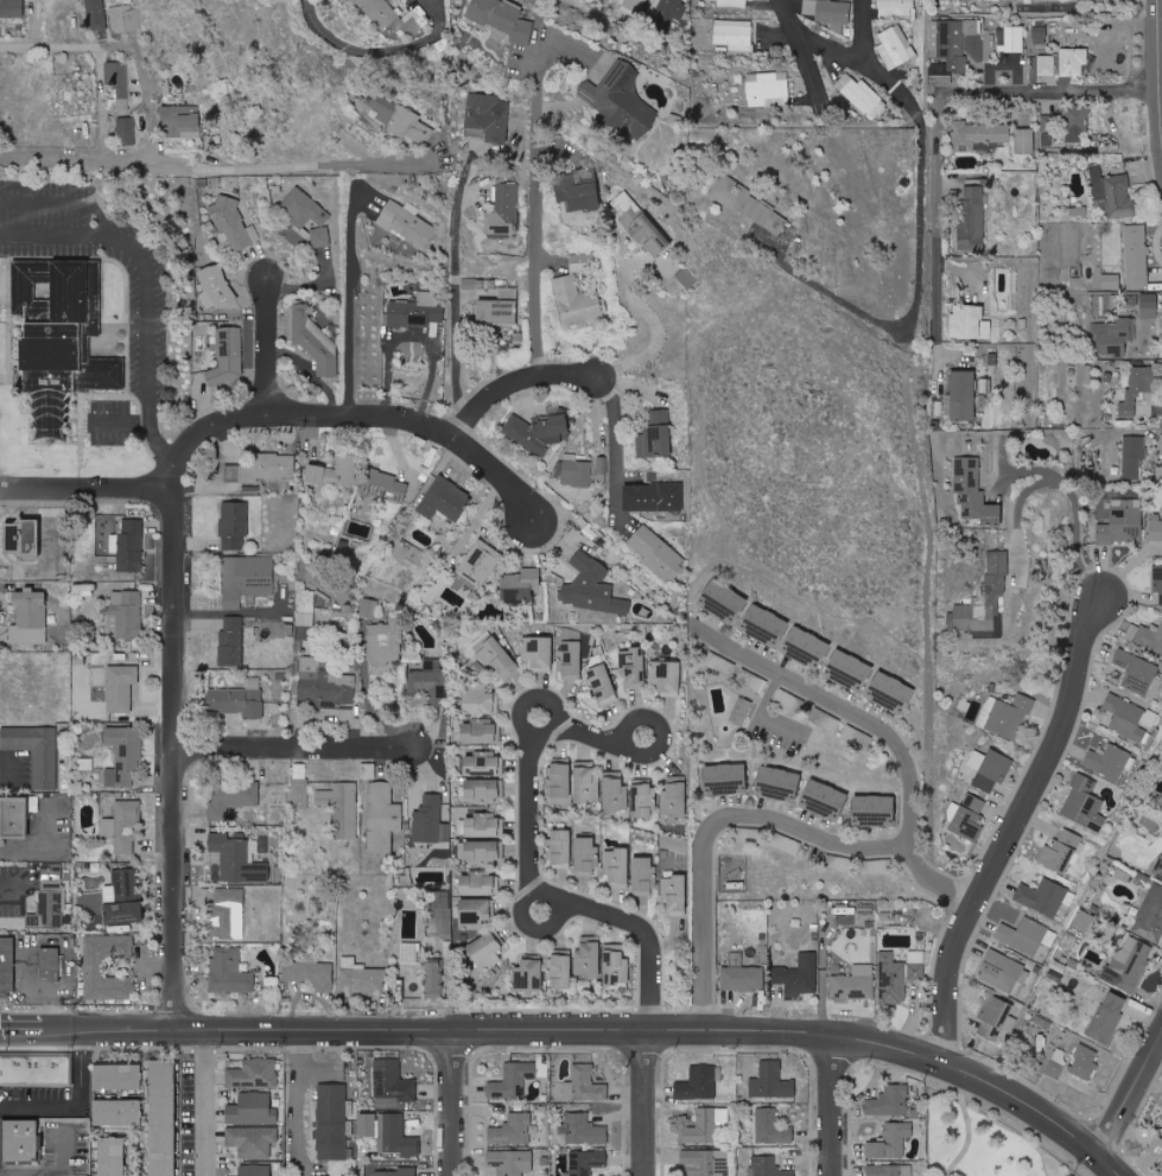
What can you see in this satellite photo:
building: (1007, 0)
building: (630, 4)
building: (732, 4)
building: (895, 7)
building: (11, 8)
building: (665, 12)
building: (828, 12)
building: (95, 14)
building: (125, 18)
building: (396, 19)
building: (503, 20)
road: (863, 30)
building: (735, 34)
building: (1040, 34)
building: (1015, 39)
building: (951, 40)
road: (355, 45)
building: (895, 46)
building: (984, 47)
road: (804, 53)
building: (1063, 63)
building: (939, 74)
building: (118, 77)
building: (768, 89)
building: (861, 95)
building: (621, 97)
road: (938, 104)
building: (383, 108)
road: (150, 112)
building: (488, 116)
building: (182, 121)
building: (1067, 123)
building: (409, 126)
building: (126, 131)
building: (1024, 140)
building: (646, 155)
road: (293, 165)
building: (1096, 180)
building: (578, 187)
building: (1119, 197)
road: (66, 199)
building: (750, 203)
building: (303, 208)
building: (503, 210)
road: (536, 210)
building: (1079, 210)
building: (972, 217)
building: (234, 223)
building: (406, 223)
road: (920, 231)
building: (649, 234)
building: (319, 236)
building: (1136, 256)
building: (686, 278)
road: (455, 279)
building: (1111, 281)
building: (566, 284)
building: (216, 287)
road: (147, 290)
building: (507, 293)
building: (1149, 300)
road: (349, 306)
building: (417, 310)
building: (497, 311)
building: (969, 322)
road: (655, 331)
building: (55, 332)
building: (1113, 336)
building: (312, 339)
road: (269, 344)
building: (229, 355)
building: (106, 373)
road: (515, 382)
building: (1137, 389)
building: (964, 394)
road: (356, 414)
road: (119, 420)
building: (538, 431)
building: (656, 436)
road: (614, 445)
building: (1134, 454)
building: (601, 464)
building: (268, 468)
road: (1022, 469)
building: (344, 470)
building: (574, 472)
building: (316, 473)
road: (1062, 483)
road: (87, 488)
building: (382, 491)
building: (974, 494)
building: (654, 496)
building: (446, 500)
building: (1123, 522)
building: (235, 525)
building: (1155, 526)
building: (24, 536)
building: (132, 545)
building: (659, 553)
building: (480, 564)
building: (247, 579)
building: (521, 584)
building: (1157, 586)
building: (593, 587)
building: (317, 598)
building: (724, 600)
building: (985, 600)
building: (369, 608)
building: (126, 614)
building: (30, 616)
building: (305, 618)
building: (766, 624)
building: (279, 628)
building: (1145, 637)
building: (303, 638)
building: (231, 641)
building: (385, 642)
building: (807, 647)
building: (539, 653)
building: (496, 655)
building: (570, 655)
building: (633, 667)
building: (850, 670)
building: (1134, 673)
building: (666, 676)
building: (753, 680)
building: (428, 682)
building: (602, 684)
building: (324, 685)
building: (121, 687)
building: (891, 692)
building: (478, 699)
building: (237, 700)
building: (742, 711)
building: (1010, 716)
building: (1125, 717)
building: (830, 723)
road: (887, 731)
building: (480, 732)
building: (857, 737)
road: (294, 746)
building: (36, 751)
building: (123, 756)
road: (174, 757)
building: (1109, 761)
building: (482, 764)
building: (990, 769)
building: (368, 770)
building: (561, 778)
building: (726, 778)
building: (585, 781)
building: (779, 783)
building: (299, 786)
building: (482, 789)
building: (616, 792)
building: (674, 796)
building: (233, 797)
building: (643, 797)
building: (825, 800)
building: (1085, 805)
building: (342, 808)
building: (876, 811)
building: (15, 816)
building: (382, 818)
building: (970, 818)
building: (430, 820)
building: (482, 826)
building: (123, 827)
road: (712, 828)
road: (1015, 828)
building: (758, 835)
building: (787, 844)
building: (560, 848)
building: (483, 850)
building: (1062, 852)
building: (586, 856)
building: (239, 859)
building: (842, 864)
building: (617, 866)
building: (877, 866)
road: (533, 870)
building: (1158, 870)
building: (643, 876)
building: (477, 883)
road: (14, 891)
building: (675, 895)
building: (123, 897)
building: (1046, 897)
building: (50, 898)
building: (475, 911)
building: (228, 914)
building: (439, 914)
building: (865, 914)
building: (1150, 915)
building: (1084, 920)
building: (1023, 935)
building: (487, 951)
building: (589, 956)
building: (7, 964)
building: (50, 964)
building: (616, 966)
building: (1129, 966)
building: (96, 967)
building: (560, 970)
building: (229, 971)
building: (311, 973)
building: (1004, 973)
building: (434, 974)
building: (363, 975)
building: (800, 975)
building: (899, 975)
building: (743, 978)
building: (855, 983)
road: (32, 986)
building: (993, 1017)
building: (1110, 1017)
road: (324, 1029)
road: (900, 1050)
building: (1056, 1062)
building: (1085, 1062)
building: (36, 1070)
building: (254, 1074)
building: (119, 1076)
building: (513, 1080)
building: (772, 1081)
building: (393, 1083)
building: (588, 1083)
building: (699, 1083)
road: (1131, 1098)
building: (889, 1101)
road: (204, 1102)
road: (297, 1102)
road: (77, 1104)
road: (449, 1104)
road: (649, 1104)
road: (827, 1106)
building: (253, 1110)
building: (119, 1112)
building: (164, 1118)
building: (332, 1123)
building: (704, 1125)
road: (966, 1126)
building: (772, 1127)
building: (514, 1130)
building: (396, 1136)
park: (993, 1137)
building: (21, 1140)
building: (253, 1140)
building: (891, 1140)
building: (1156, 1148)
building: (113, 1156)
building: (510, 1162)
building: (586, 1162)
building: (707, 1162)
building: (768, 1167)
road: (57, 1168)
road: (1092, 1168)
building: (255, 1170)
building: (889, 1170)
building: (395, 1171)
building: (320, 1175)

